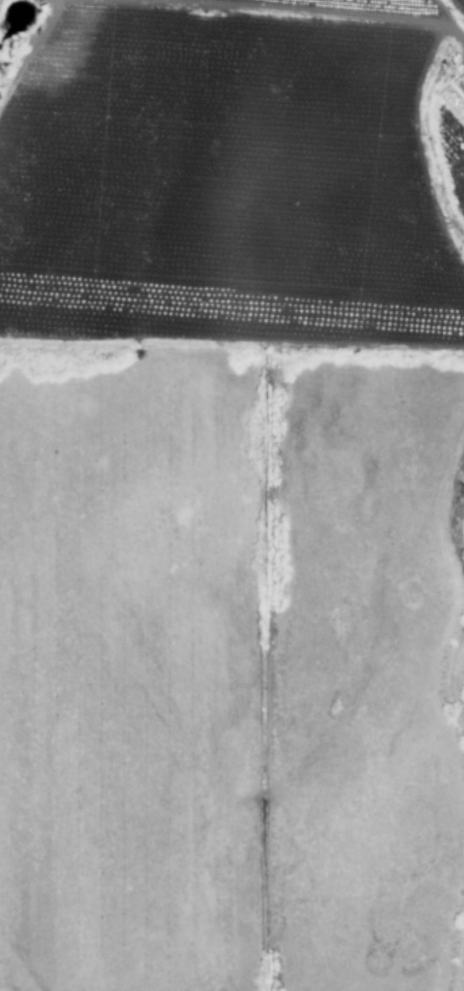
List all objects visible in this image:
railway: (463, 1)

